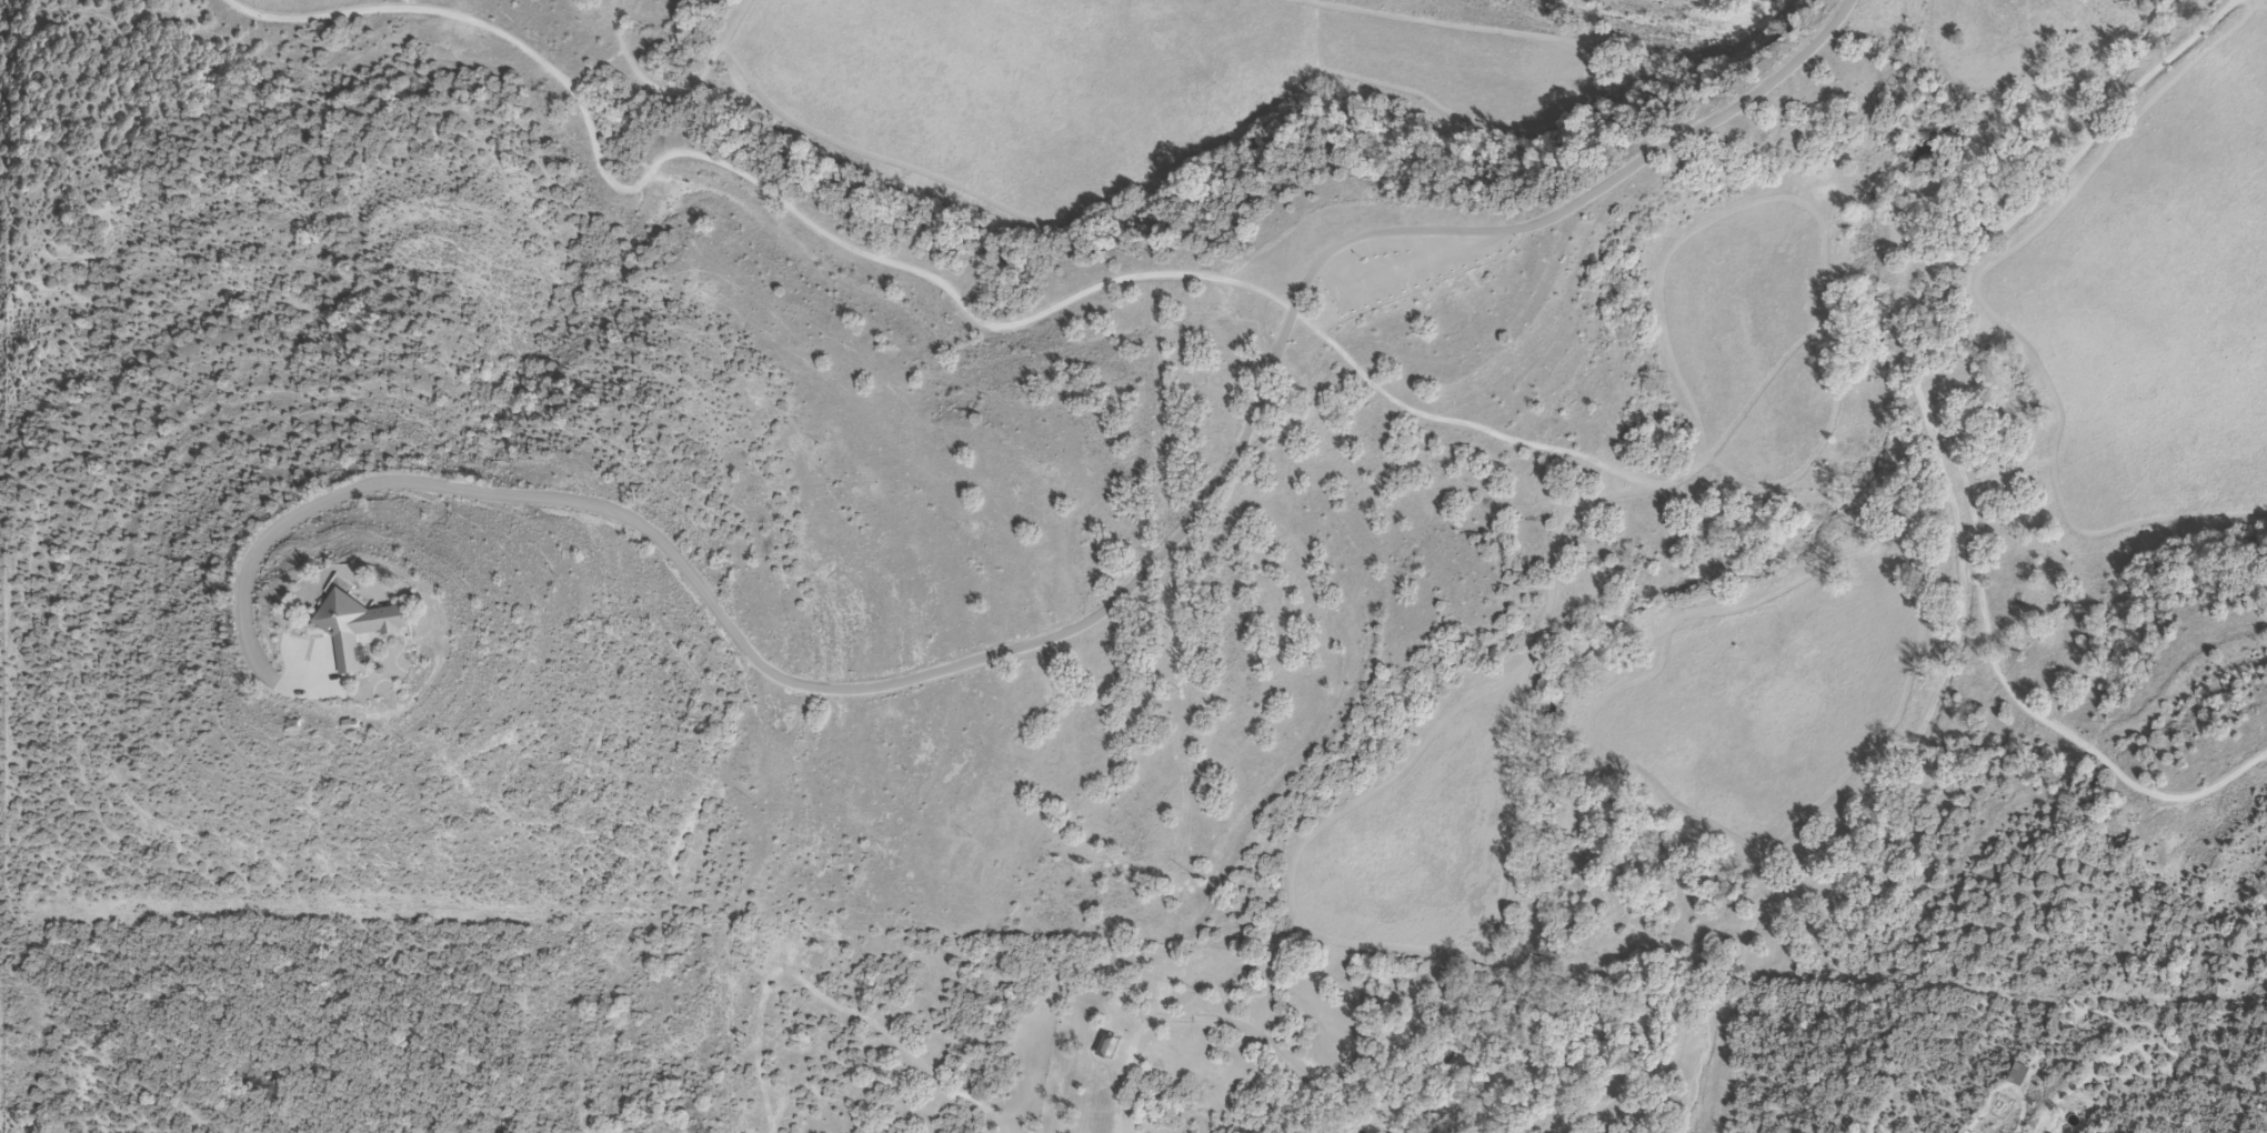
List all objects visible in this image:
road: (1475, 21)
road: (671, 82)
road: (1061, 299)
road: (1939, 439)
road: (1074, 625)
building: (354, 626)

